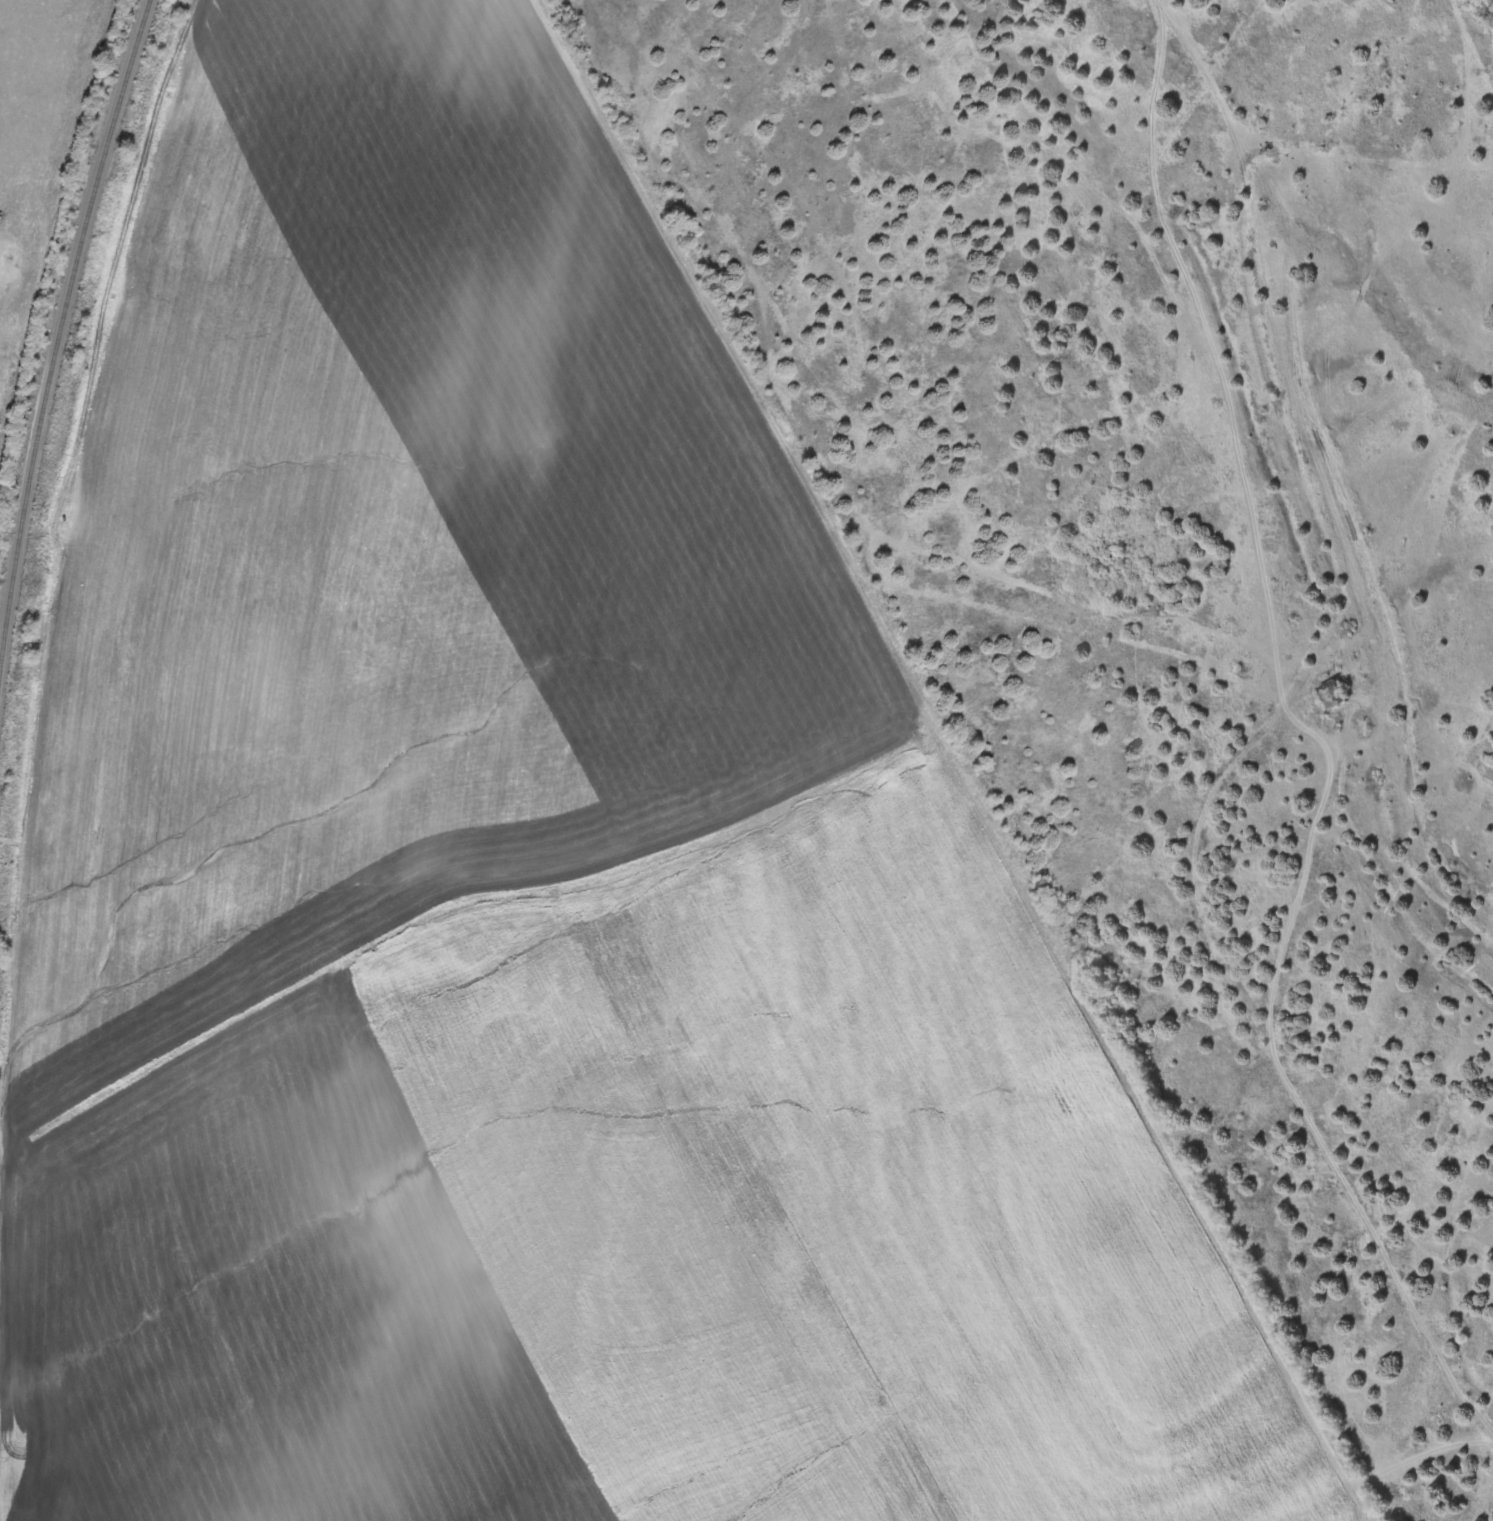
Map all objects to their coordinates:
railway: (60, 338)
building: (1332, 695)

